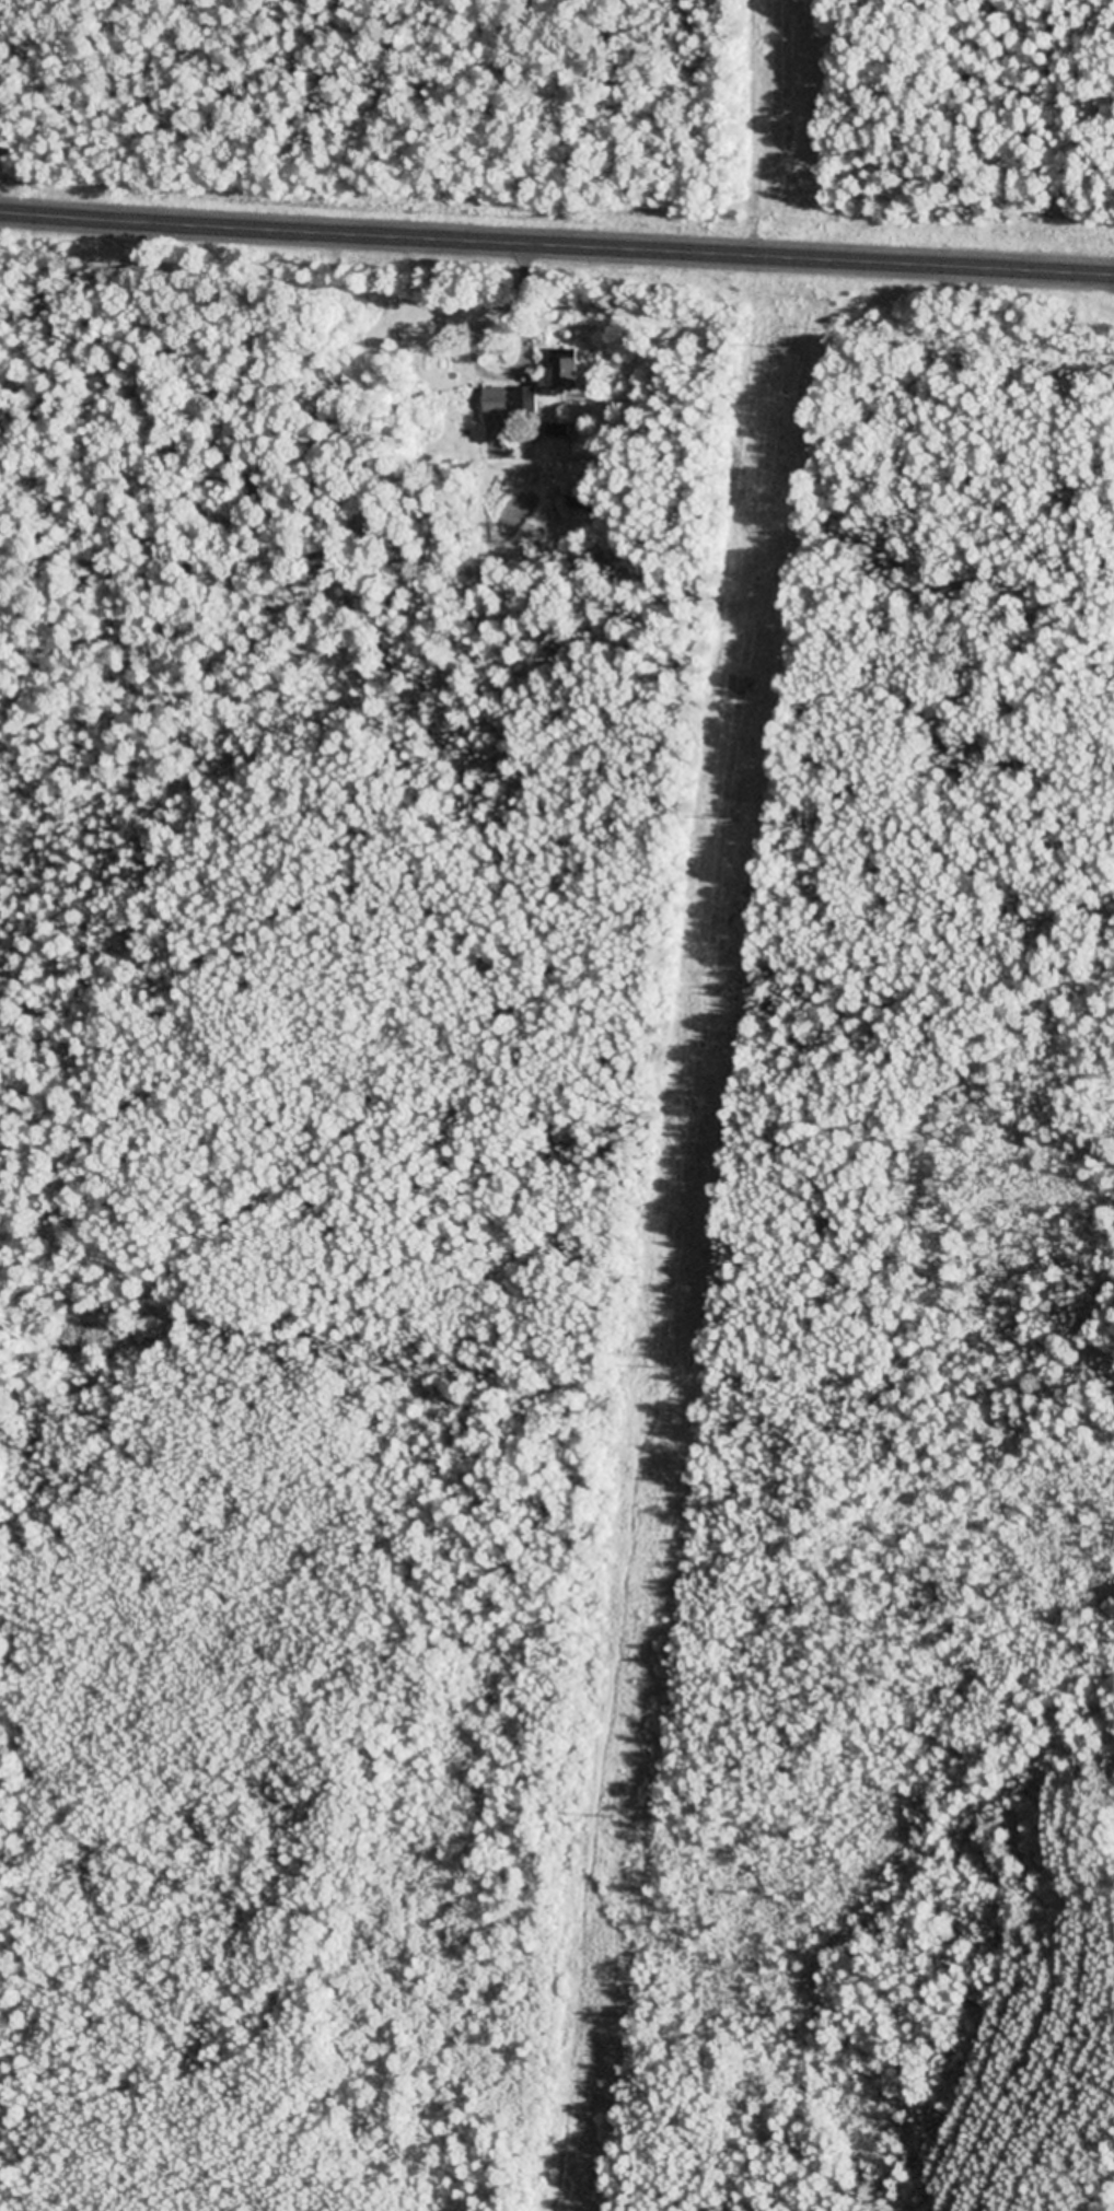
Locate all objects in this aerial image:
road: (556, 243)
building: (379, 310)
power tower: (786, 349)
building: (567, 369)
building: (526, 402)
building: (496, 407)
power tower: (732, 822)
power tower: (668, 1369)
power tower: (611, 1816)

